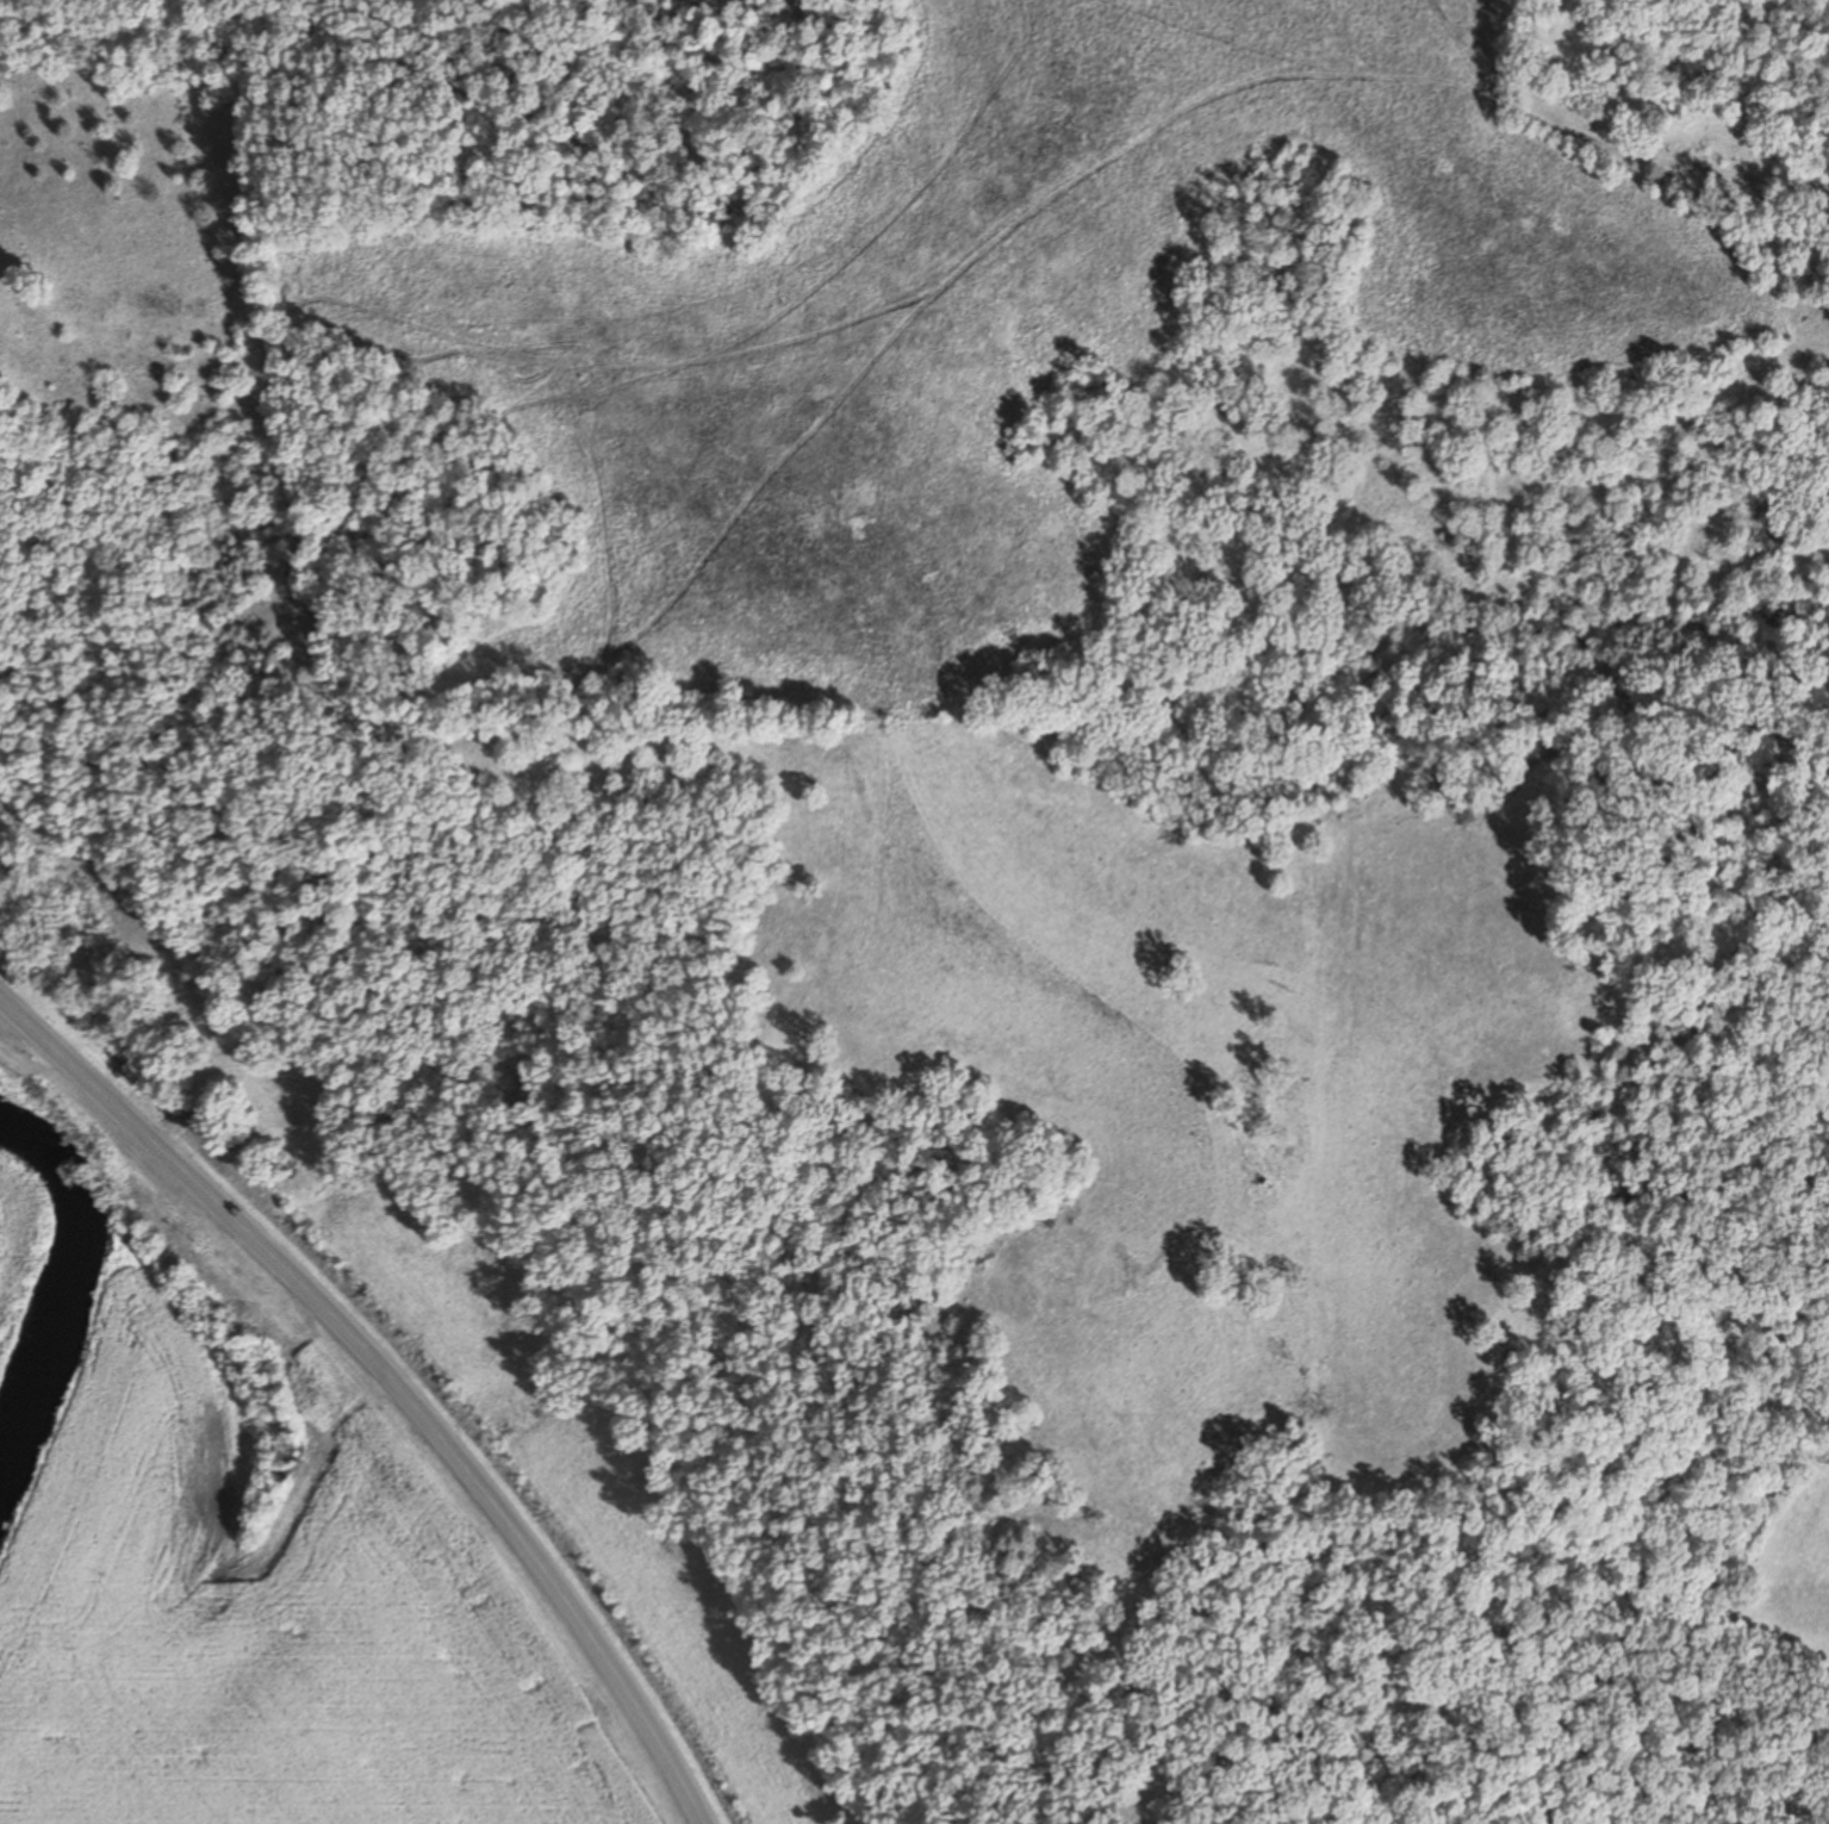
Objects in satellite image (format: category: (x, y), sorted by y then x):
river: (48, 1256)
road: (391, 1380)

